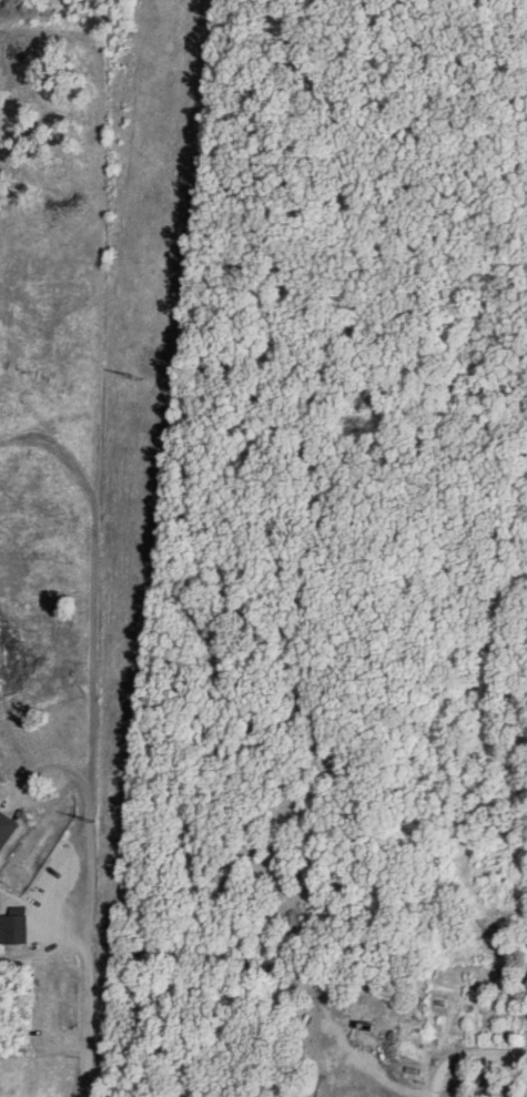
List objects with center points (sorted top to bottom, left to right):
power tower: (133, 373)
power tower: (84, 816)
building: (7, 827)
building: (13, 927)
road: (432, 1095)

